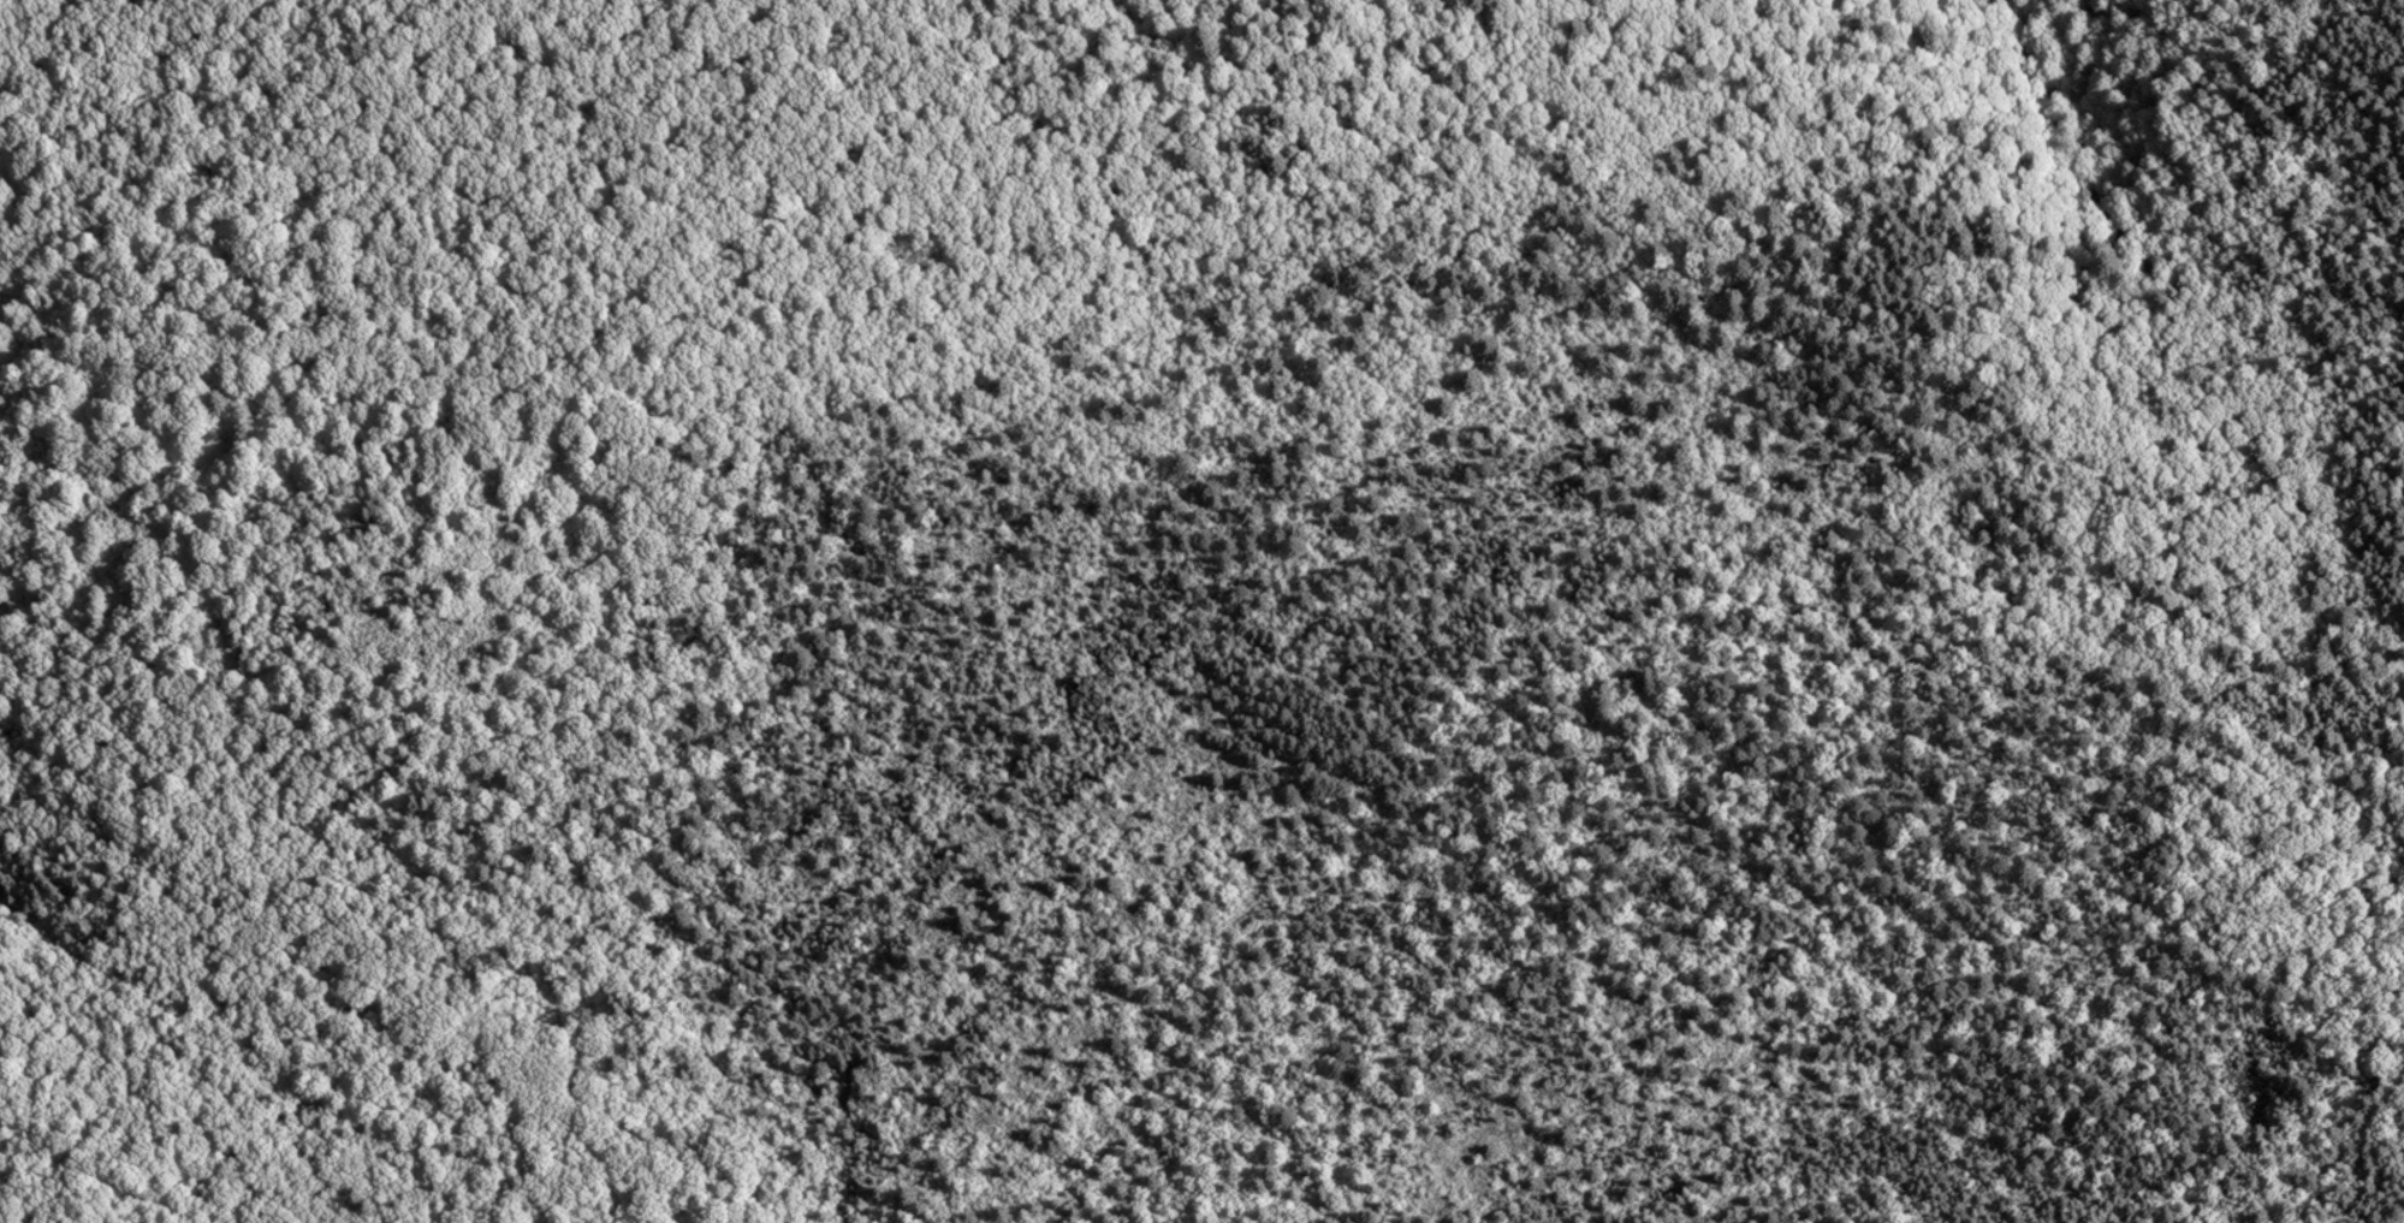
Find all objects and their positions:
road: (2332, 1171)

